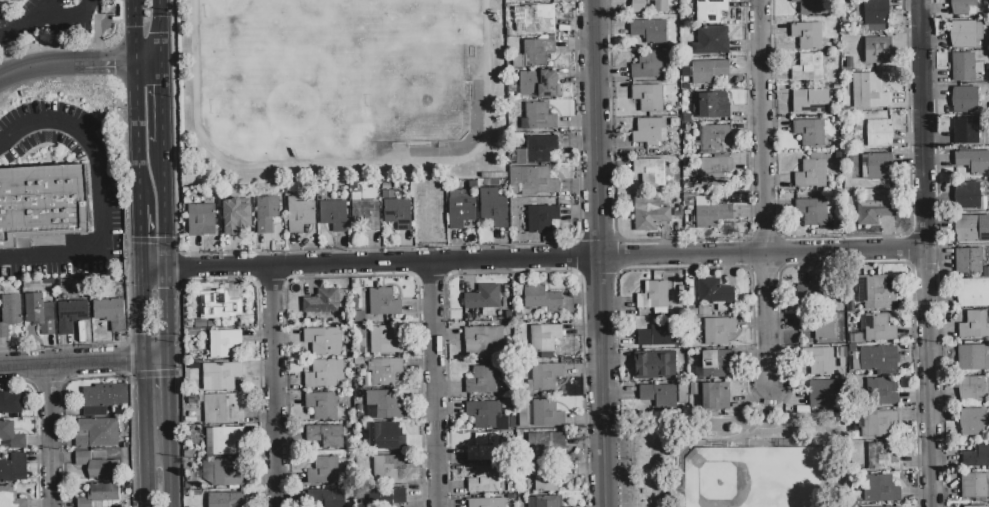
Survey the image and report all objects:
building: (9, 1)
building: (638, 6)
building: (813, 7)
building: (963, 7)
road: (50, 10)
building: (710, 11)
building: (875, 15)
parking lot: (44, 19)
building: (532, 19)
road: (50, 20)
traffic signals: (133, 27)
road: (161, 31)
building: (649, 31)
building: (965, 33)
building: (808, 36)
building: (709, 42)
building: (878, 50)
street lamp: (931, 51)
building: (534, 53)
traffic signals: (113, 63)
road: (122, 63)
building: (647, 65)
road: (40, 66)
building: (808, 67)
building: (963, 67)
building: (708, 71)
park: (346, 82)
building: (539, 83)
traffic signals: (162, 85)
street lamp: (748, 90)
building: (869, 91)
building: (648, 97)
building: (964, 100)
building: (810, 101)
road: (134, 102)
road: (162, 102)
building: (712, 104)
building: (539, 116)
road: (928, 125)
road: (596, 129)
building: (968, 131)
street lamp: (578, 132)
building: (810, 132)
building: (649, 133)
building: (879, 133)
building: (715, 138)
street lamp: (932, 149)
building: (539, 151)
building: (973, 161)
building: (876, 166)
building: (819, 169)
building: (650, 171)
building: (714, 171)
building: (532, 181)
parking lot: (59, 191)
building: (965, 195)
road: (763, 196)
road: (104, 198)
road: (165, 206)
building: (41, 208)
building: (461, 208)
building: (812, 211)
building: (493, 212)
building: (872, 212)
building: (266, 213)
building: (398, 213)
building: (649, 213)
building: (300, 214)
building: (366, 214)
building: (334, 215)
building: (712, 215)
building: (237, 217)
building: (543, 219)
building: (201, 220)
building: (967, 229)
street lamp: (125, 235)
road: (841, 236)
road: (139, 237)
traffic signals: (140, 238)
street lamp: (578, 238)
road: (617, 238)
road: (763, 238)
road: (151, 240)
road: (679, 240)
street lamp: (935, 245)
road: (371, 250)
street lamp: (444, 250)
road: (906, 250)
road: (937, 253)
street lamp: (286, 254)
road: (762, 255)
building: (968, 261)
road: (381, 263)
road: (764, 268)
road: (187, 269)
road: (154, 270)
road: (515, 271)
road: (431, 275)
road: (351, 276)
road: (218, 277)
road: (269, 283)
traffic signals: (169, 289)
building: (972, 292)
building: (810, 293)
building: (872, 293)
building: (715, 294)
building: (653, 295)
building: (483, 297)
building: (541, 298)
building: (322, 301)
building: (384, 302)
building: (220, 304)
building: (10, 313)
building: (39, 313)
building: (110, 313)
road: (169, 313)
road: (141, 314)
building: (73, 317)
building: (200, 323)
building: (975, 324)
building: (211, 325)
building: (817, 327)
building: (878, 327)
building: (718, 331)
traffic signals: (142, 334)
building: (657, 336)
building: (545, 337)
building: (384, 339)
building: (484, 340)
building: (323, 341)
road: (599, 342)
road: (113, 343)
building: (224, 343)
street lamp: (938, 343)
road: (157, 357)
building: (973, 357)
building: (879, 358)
road: (127, 359)
traffic signals: (125, 360)
building: (825, 361)
road: (72, 362)
building: (713, 363)
building: (656, 365)
street lamp: (179, 369)
building: (385, 371)
building: (325, 374)
building: (221, 376)
building: (545, 377)
road: (154, 378)
road: (931, 378)
street lamp: (127, 380)
traffic signals: (172, 380)
building: (482, 380)
road: (434, 384)
road: (46, 386)
road: (273, 386)
building: (972, 388)
building: (883, 392)
building: (821, 394)
building: (659, 396)
building: (716, 396)
building: (105, 399)
road: (172, 399)
building: (10, 403)
building: (383, 404)
building: (323, 405)
building: (221, 409)
road: (763, 409)
building: (547, 413)
building: (485, 414)
road: (130, 416)
road: (763, 417)
road: (750, 423)
building: (878, 423)
building: (972, 423)
street lamp: (586, 428)
road: (35, 431)
road: (145, 432)
building: (97, 433)
building: (12, 435)
road: (55, 435)
building: (326, 435)
building: (381, 435)
road: (64, 438)
street lamp: (941, 440)
building: (222, 441)
road: (728, 442)
building: (544, 443)
building: (484, 447)
street lamp: (424, 454)
street lamp: (181, 456)
building: (976, 456)
building: (880, 457)
street lamp: (630, 461)
park: (741, 461)
parking lot: (621, 465)
building: (98, 466)
road: (604, 466)
building: (14, 468)
building: (387, 468)
building: (324, 471)
building: (223, 472)
road: (822, 472)
road: (173, 474)
building: (547, 476)
park: (751, 477)
building: (485, 480)
building: (974, 485)
building: (880, 489)
building: (100, 496)
building: (386, 497)
building: (10, 498)
building: (334, 498)
building: (227, 499)
building: (545, 502)
building: (487, 503)
building: (897, 506)
building: (975, 506)

